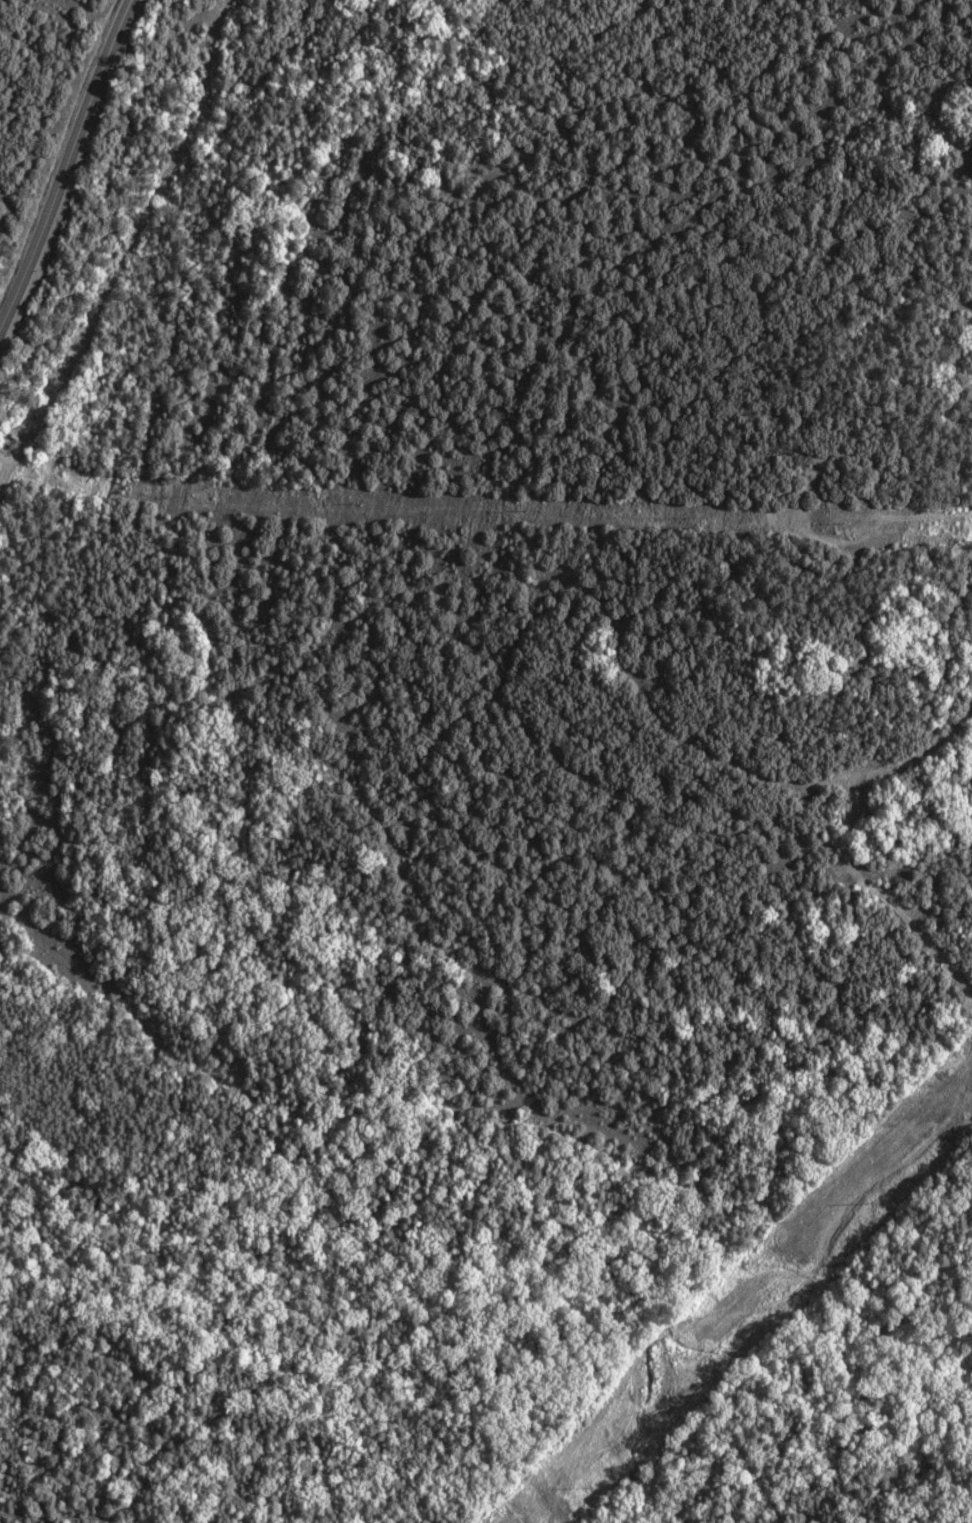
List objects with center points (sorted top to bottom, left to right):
road: (67, 160)

